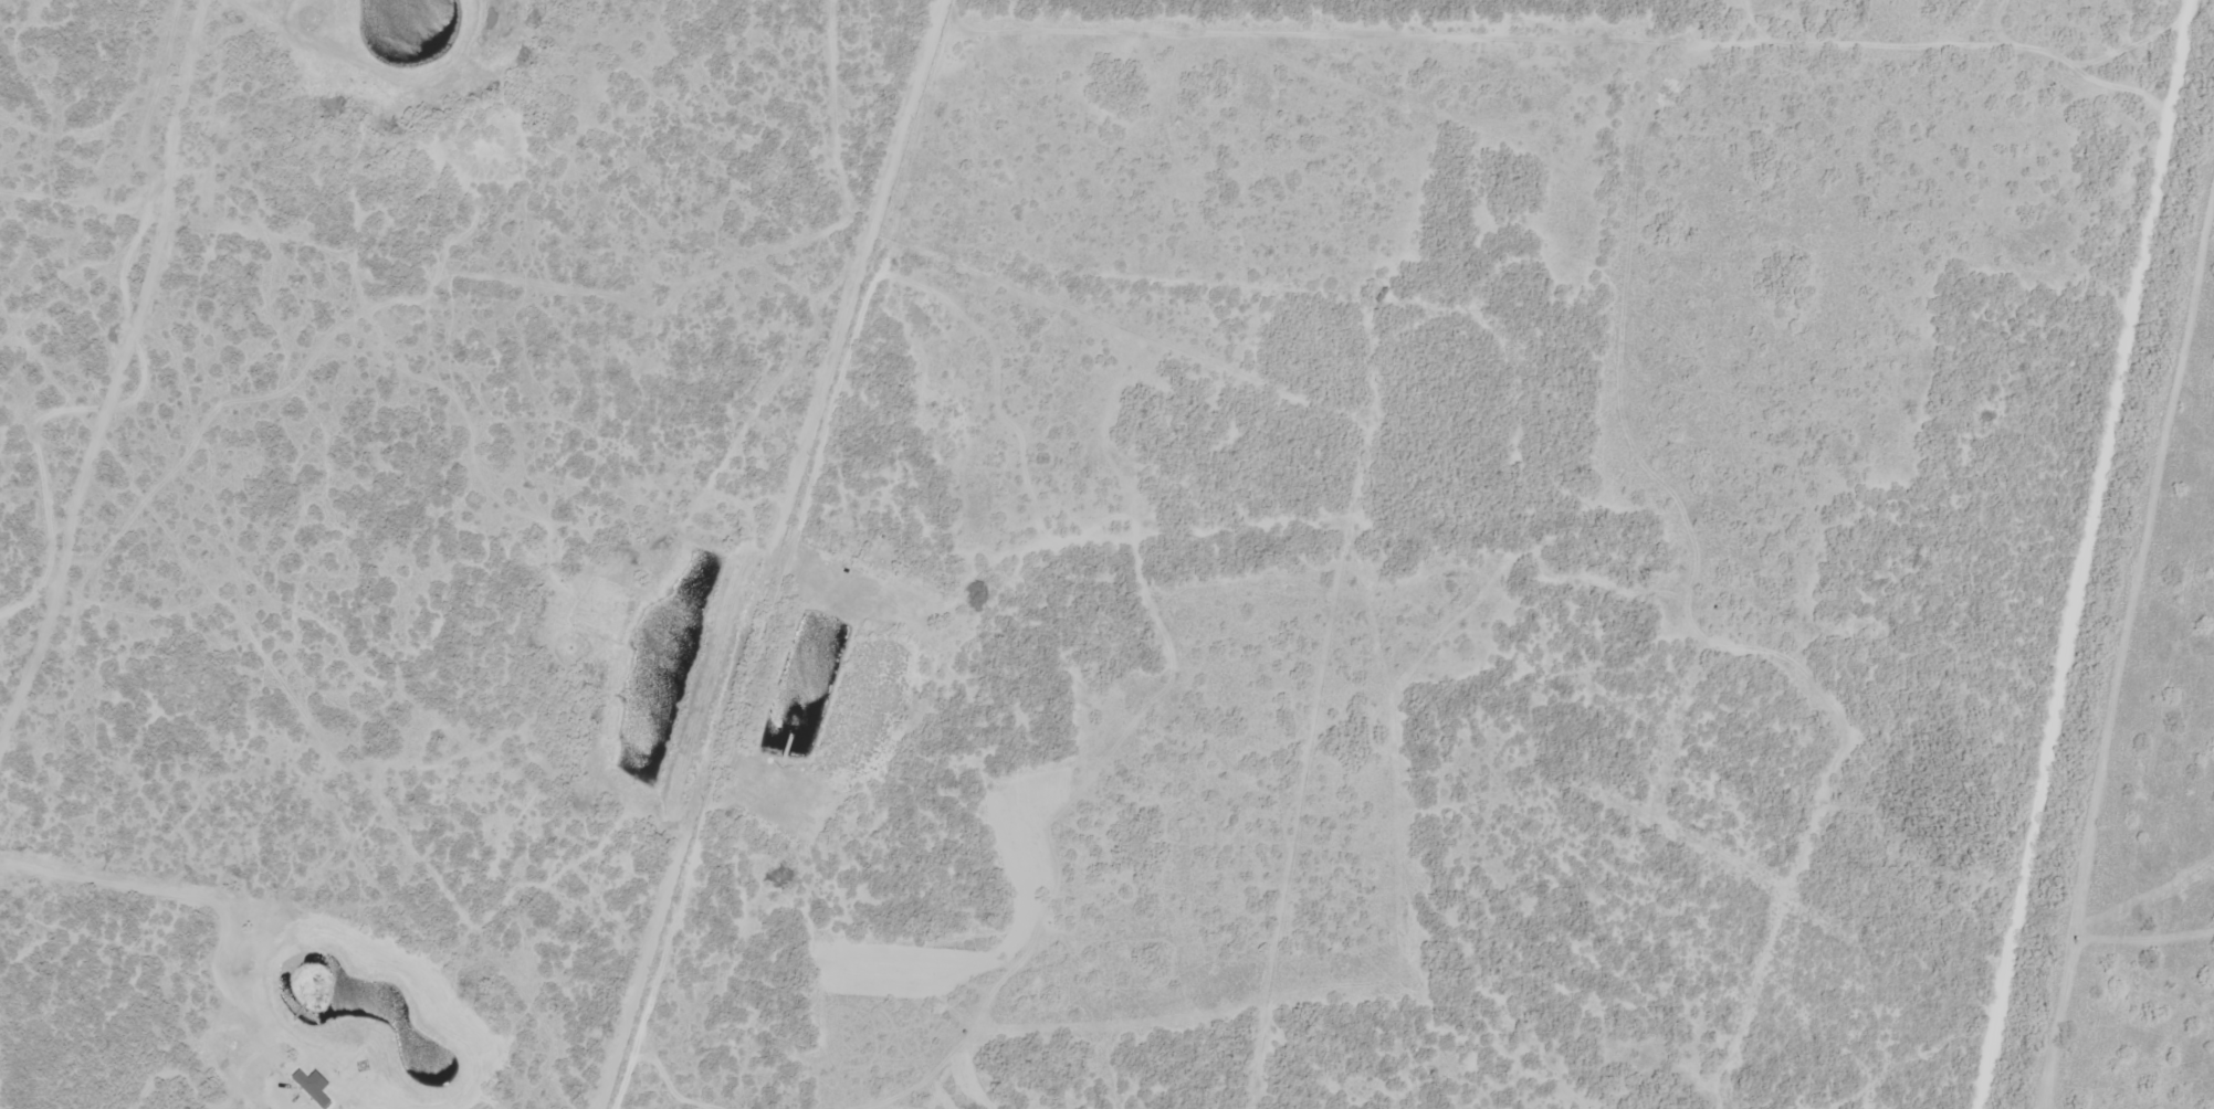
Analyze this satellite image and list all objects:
road: (2084, 553)

